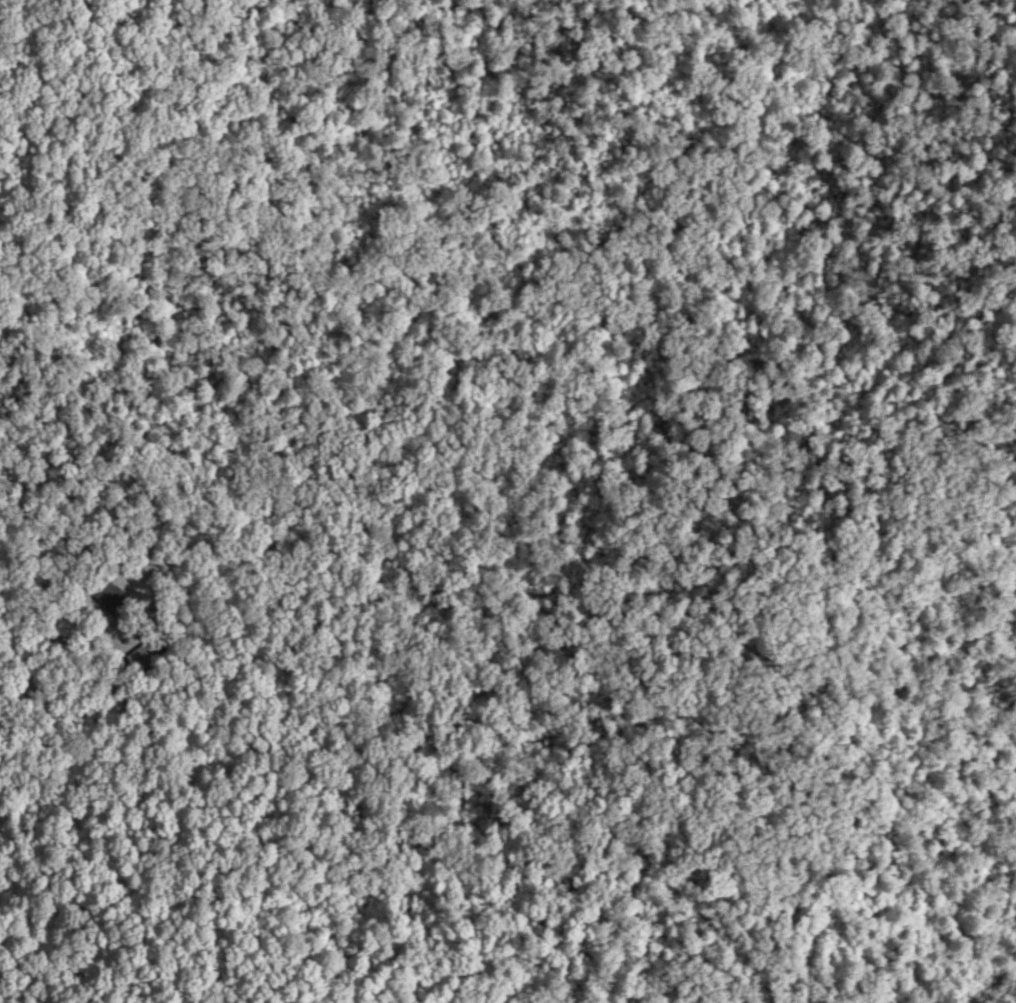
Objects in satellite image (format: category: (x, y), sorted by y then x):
building: (106, 595)
building: (140, 656)

